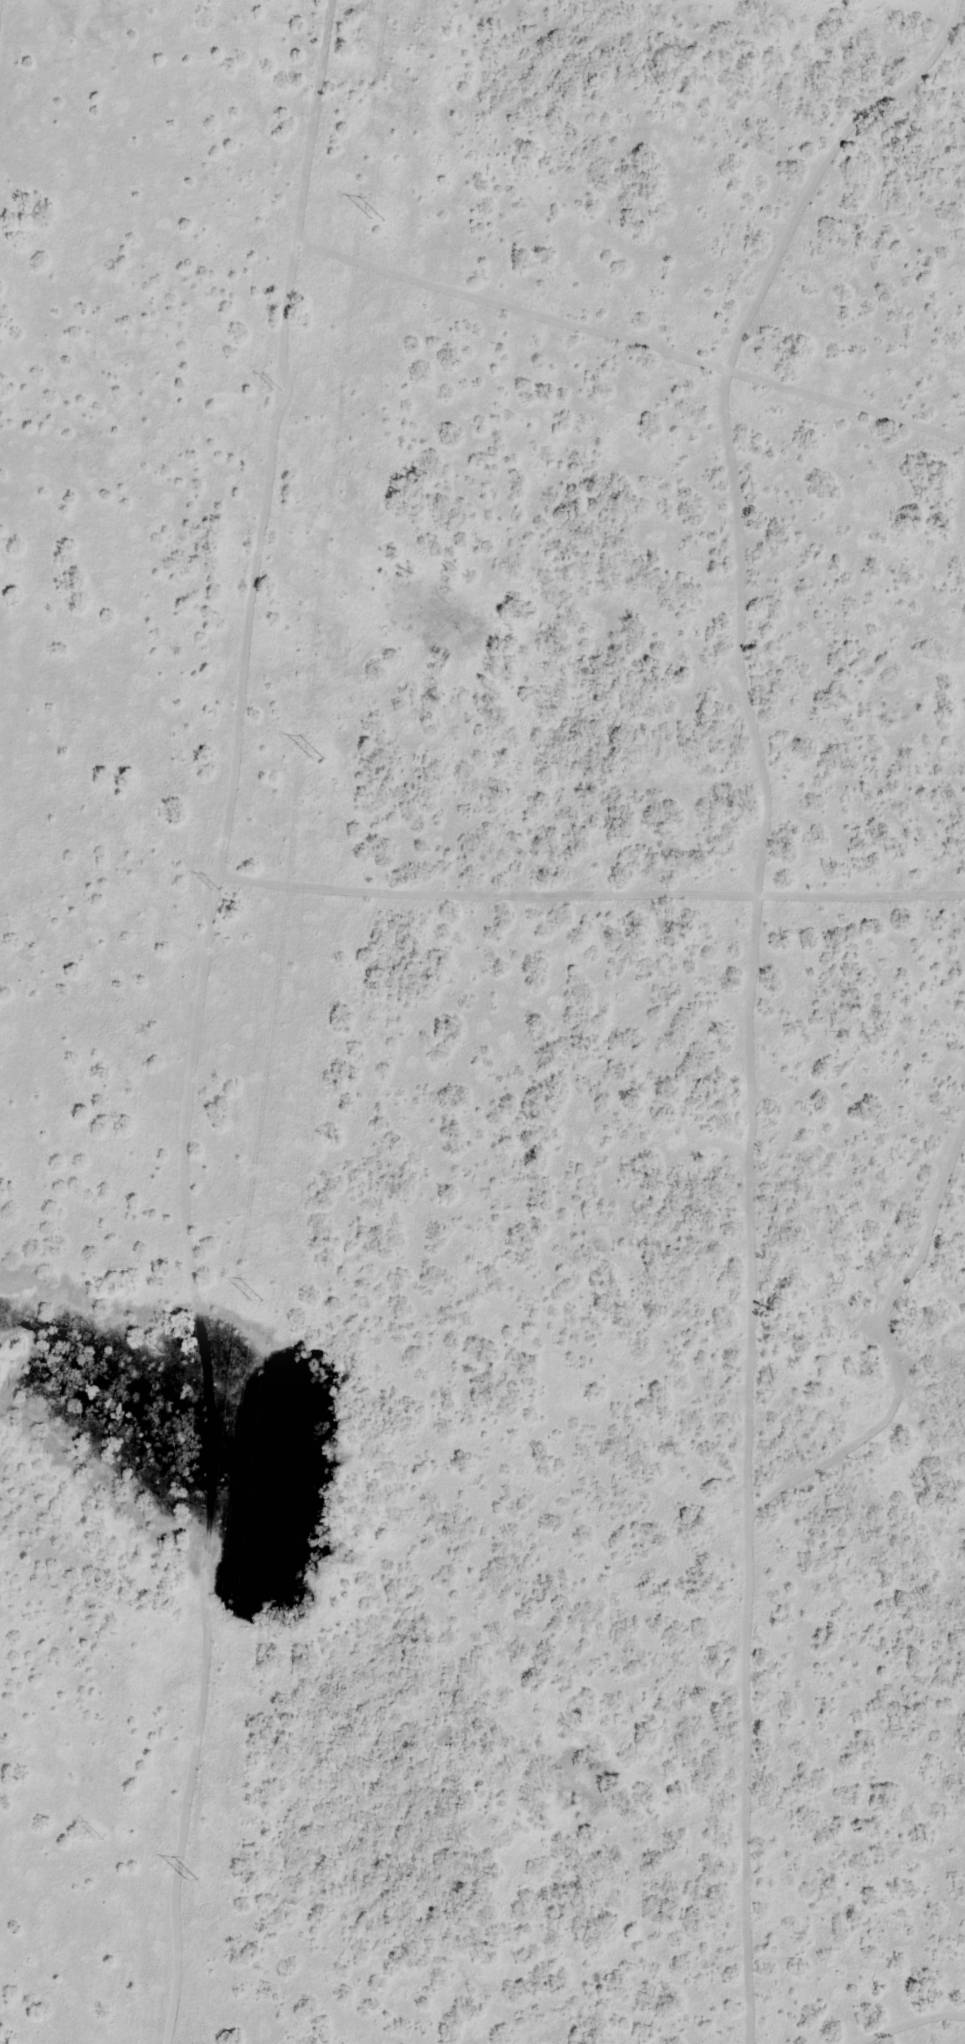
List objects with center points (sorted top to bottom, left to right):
power tower: (375, 224)
power tower: (278, 391)
power tower: (316, 760)
power tower: (216, 890)
power tower: (254, 1303)
power tower: (158, 1351)
power tower: (98, 1838)
power tower: (190, 1882)

